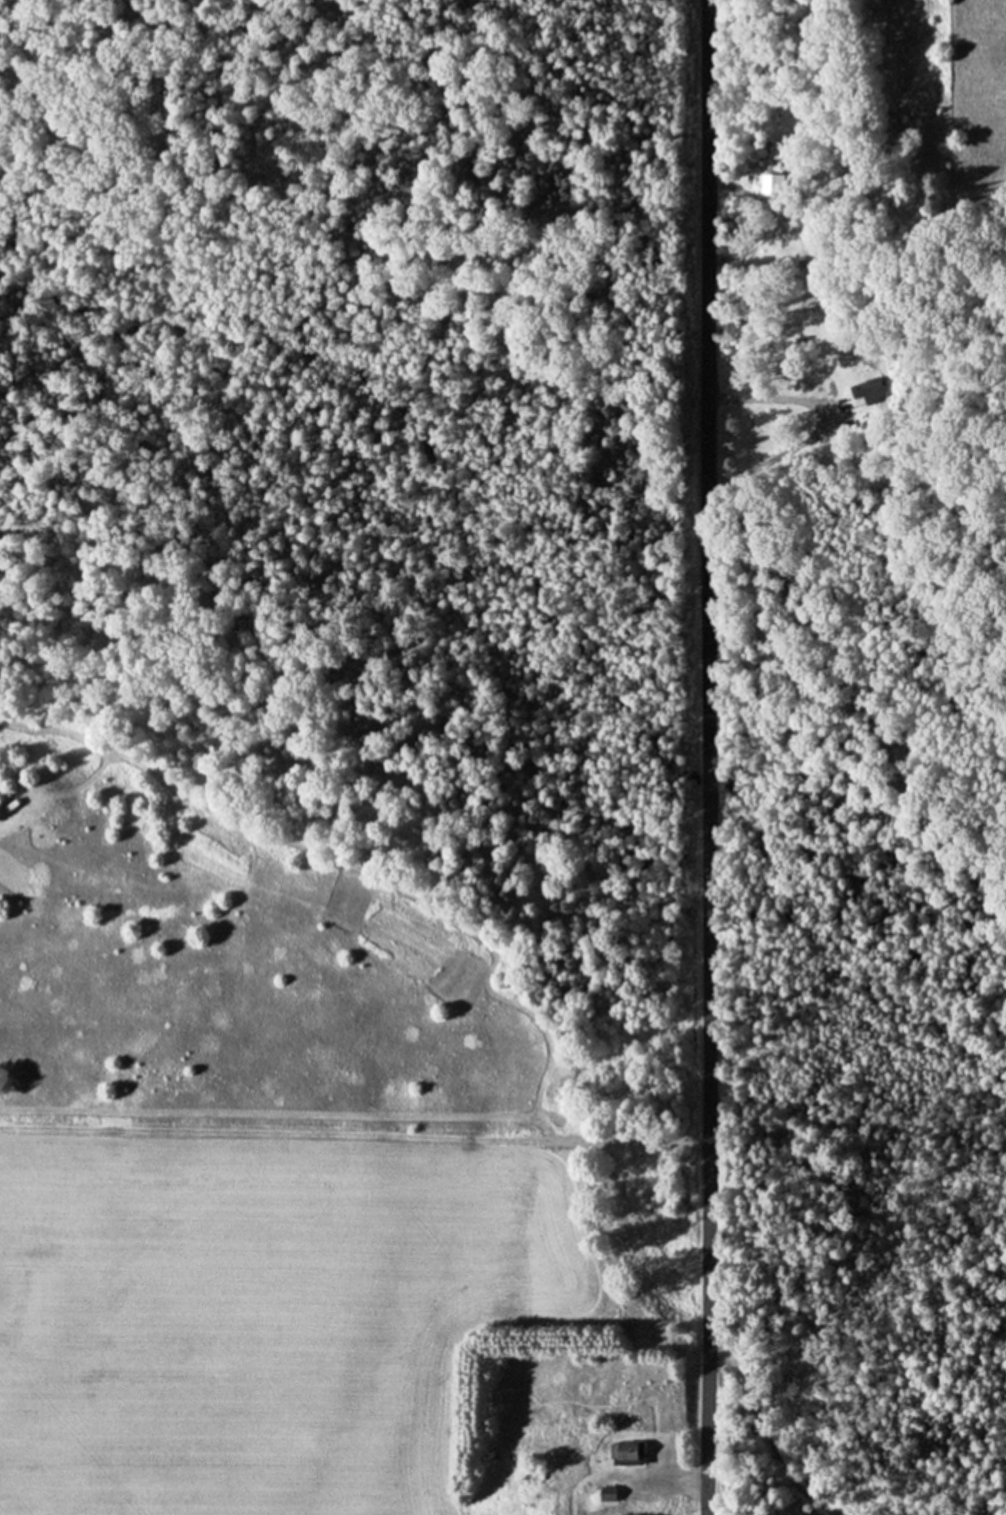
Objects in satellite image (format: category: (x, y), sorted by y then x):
building: (773, 185)
building: (870, 391)
road: (772, 399)
road: (709, 757)
road: (654, 1482)
building: (604, 1495)

